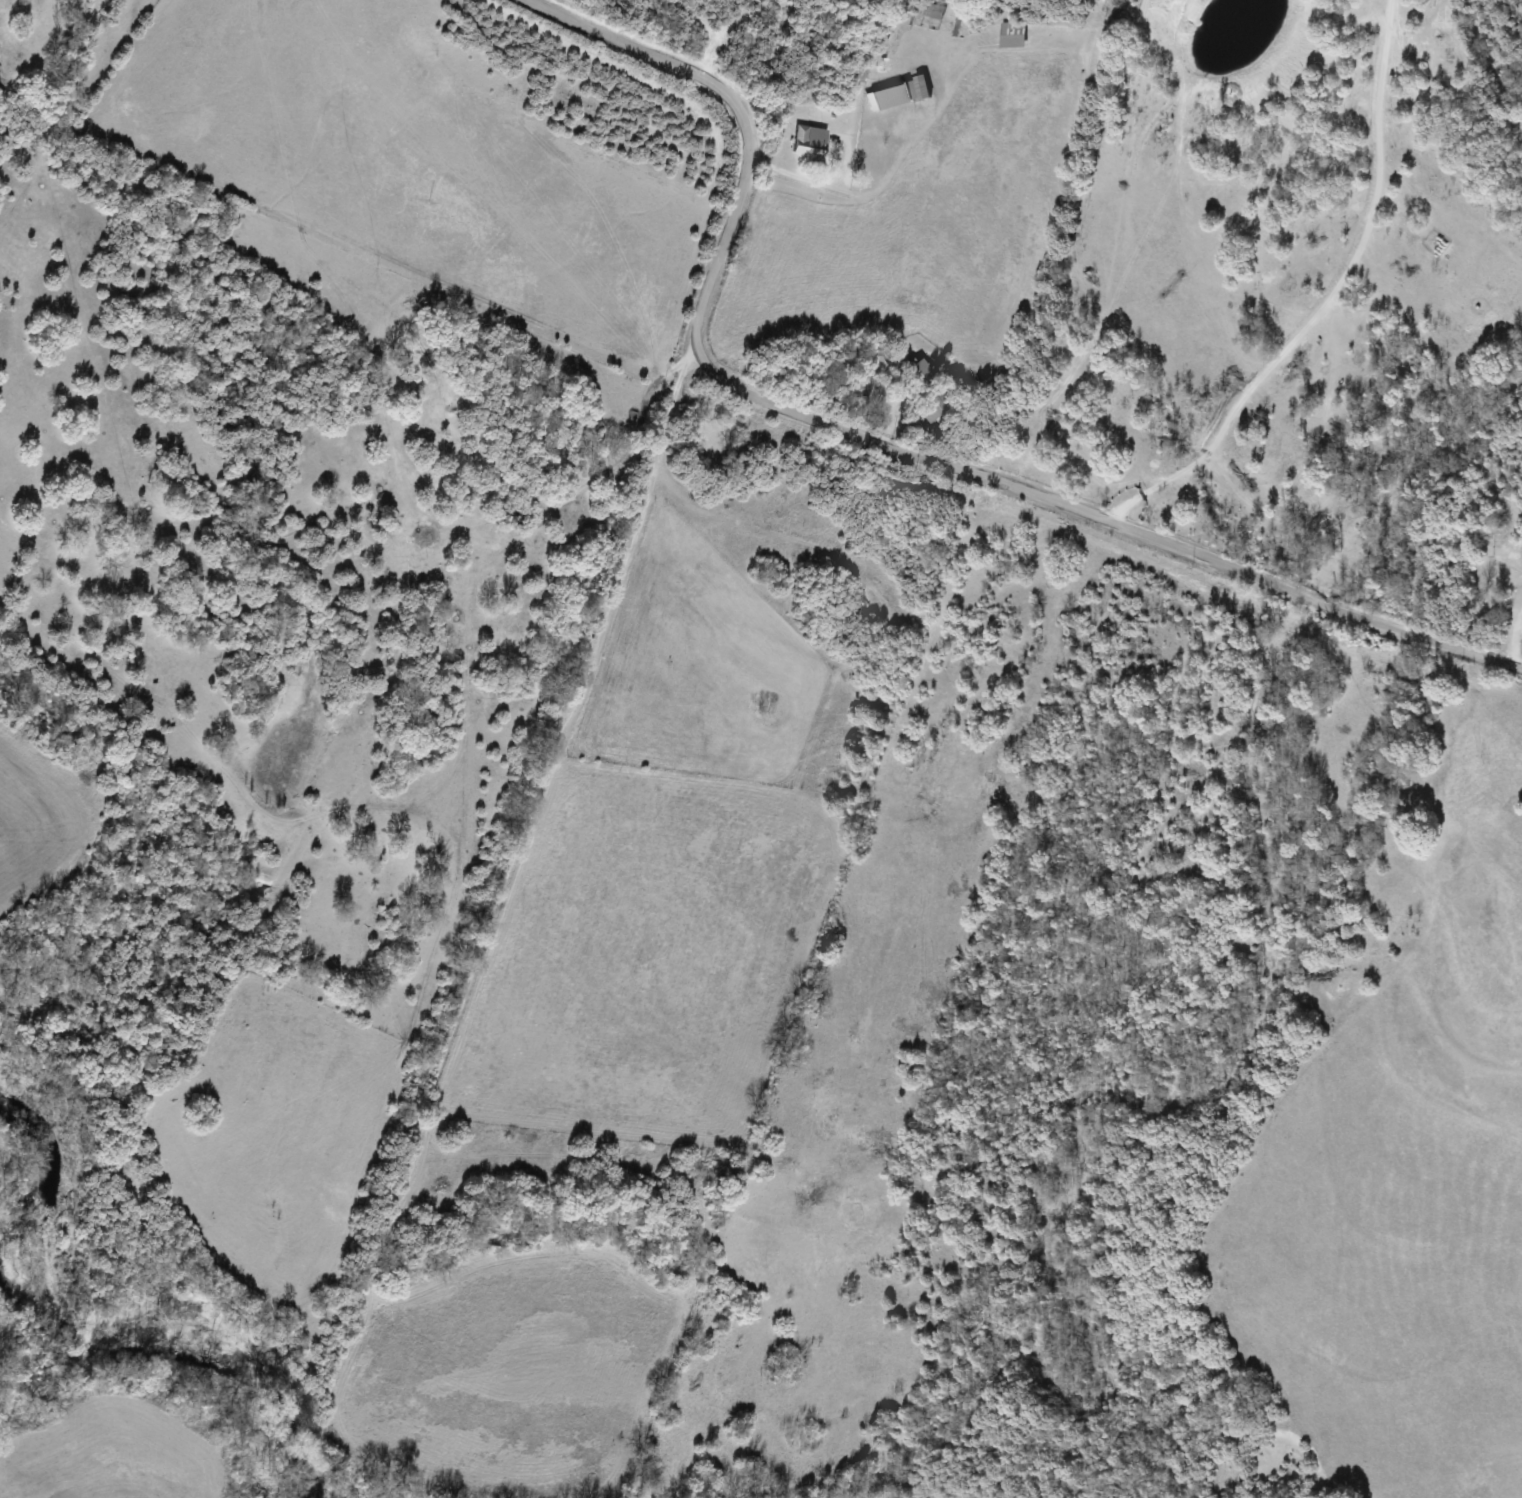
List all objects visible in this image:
building: (1011, 34)
building: (898, 93)
building: (811, 141)
building: (877, 366)
building: (921, 370)
building: (864, 391)
building: (935, 406)
road: (869, 444)

